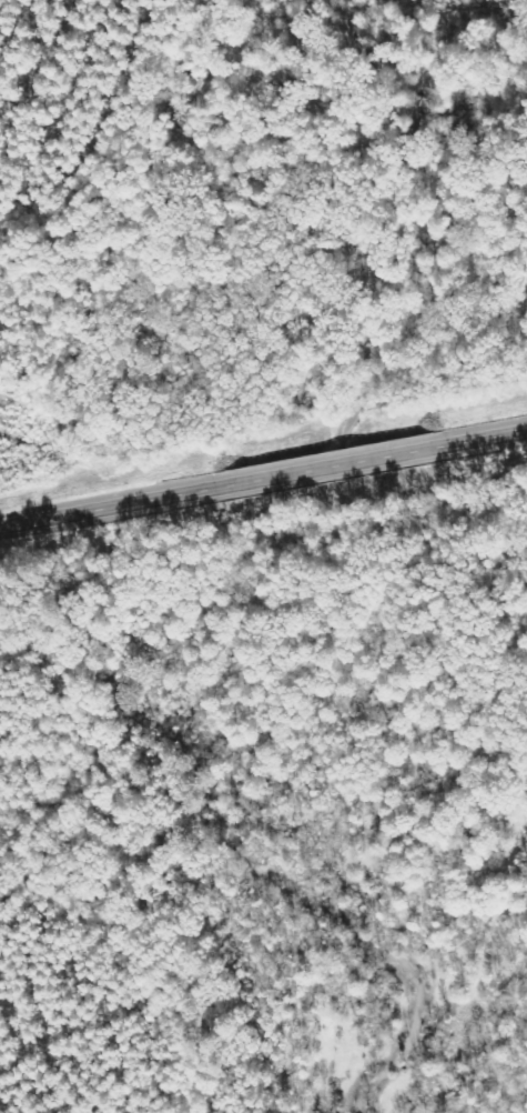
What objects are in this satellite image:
road: (485, 437)
road: (332, 464)
road: (110, 505)

